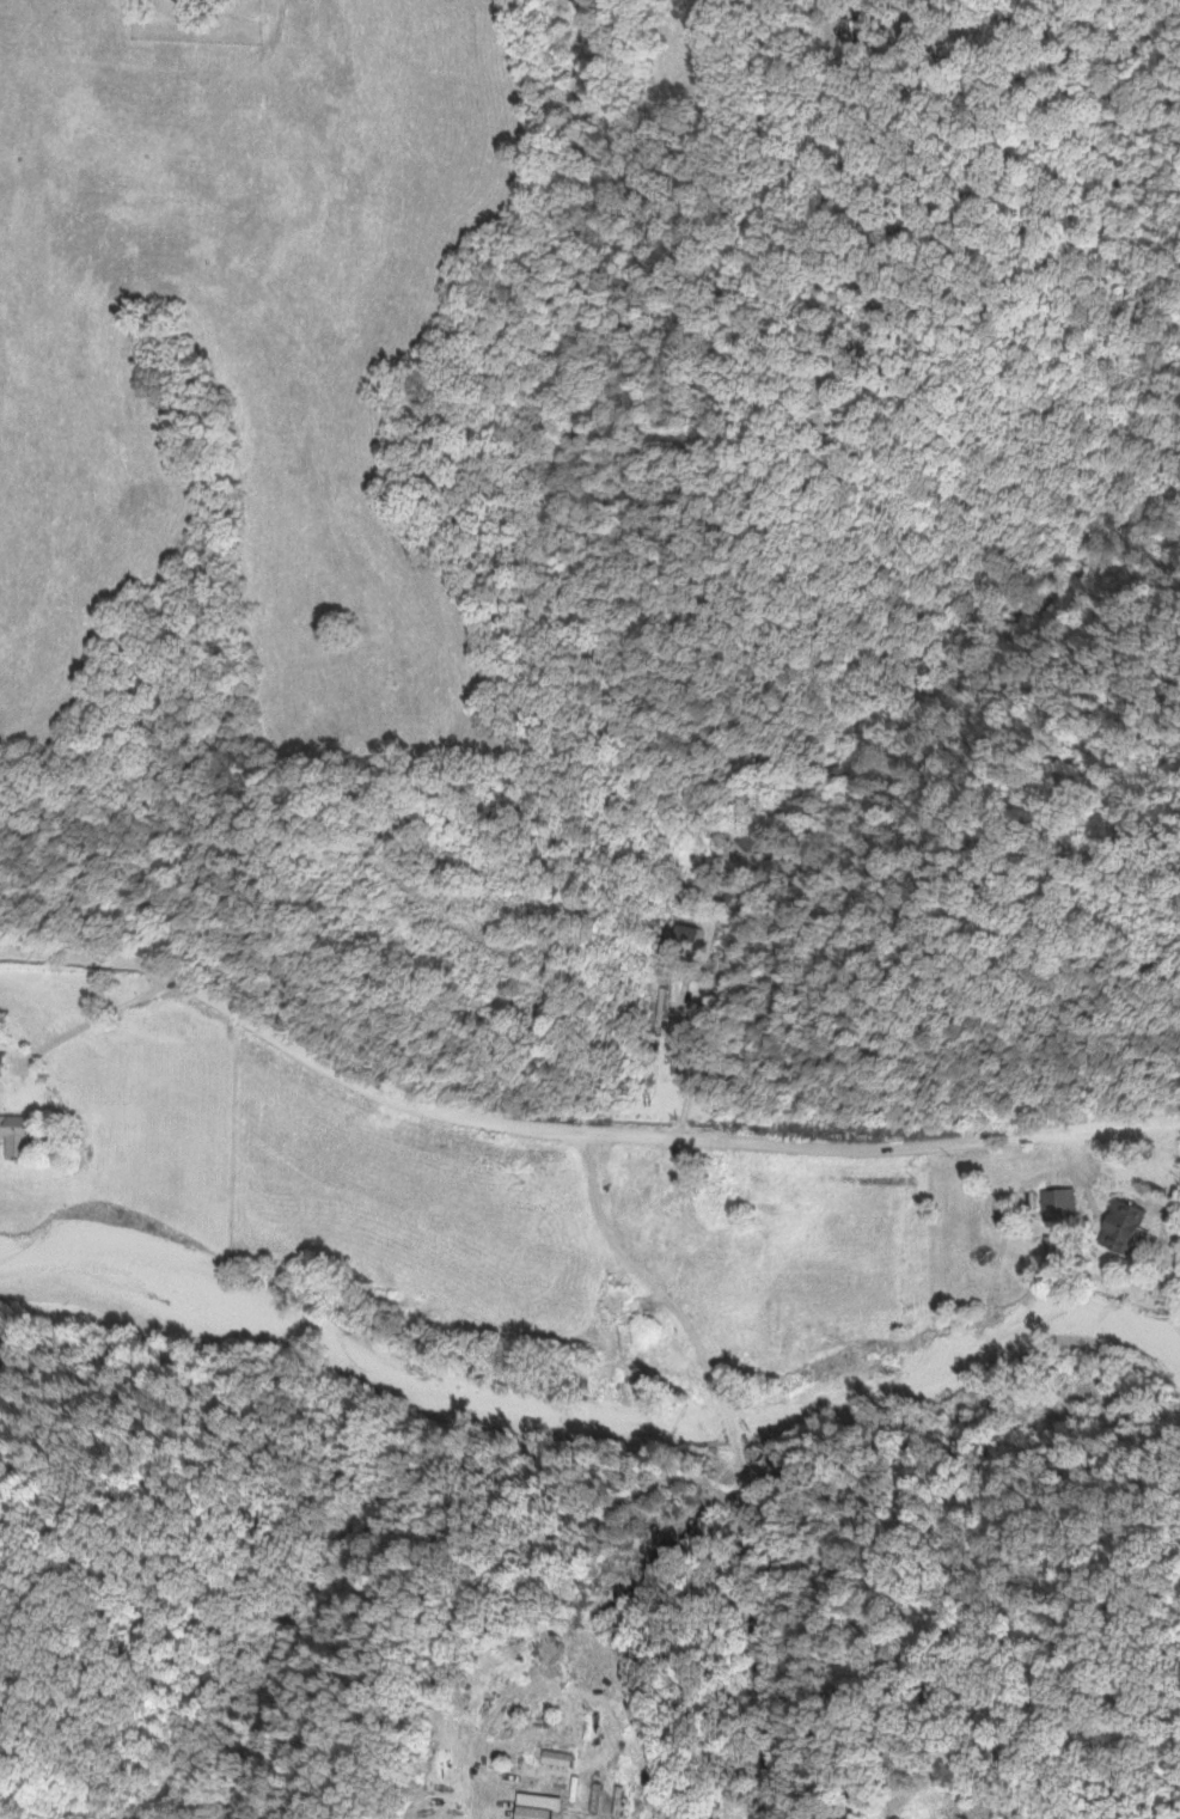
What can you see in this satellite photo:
building: (679, 938)
road: (91, 1017)
road: (570, 1131)
building: (10, 1135)
building: (1112, 1225)
building: (549, 1757)

